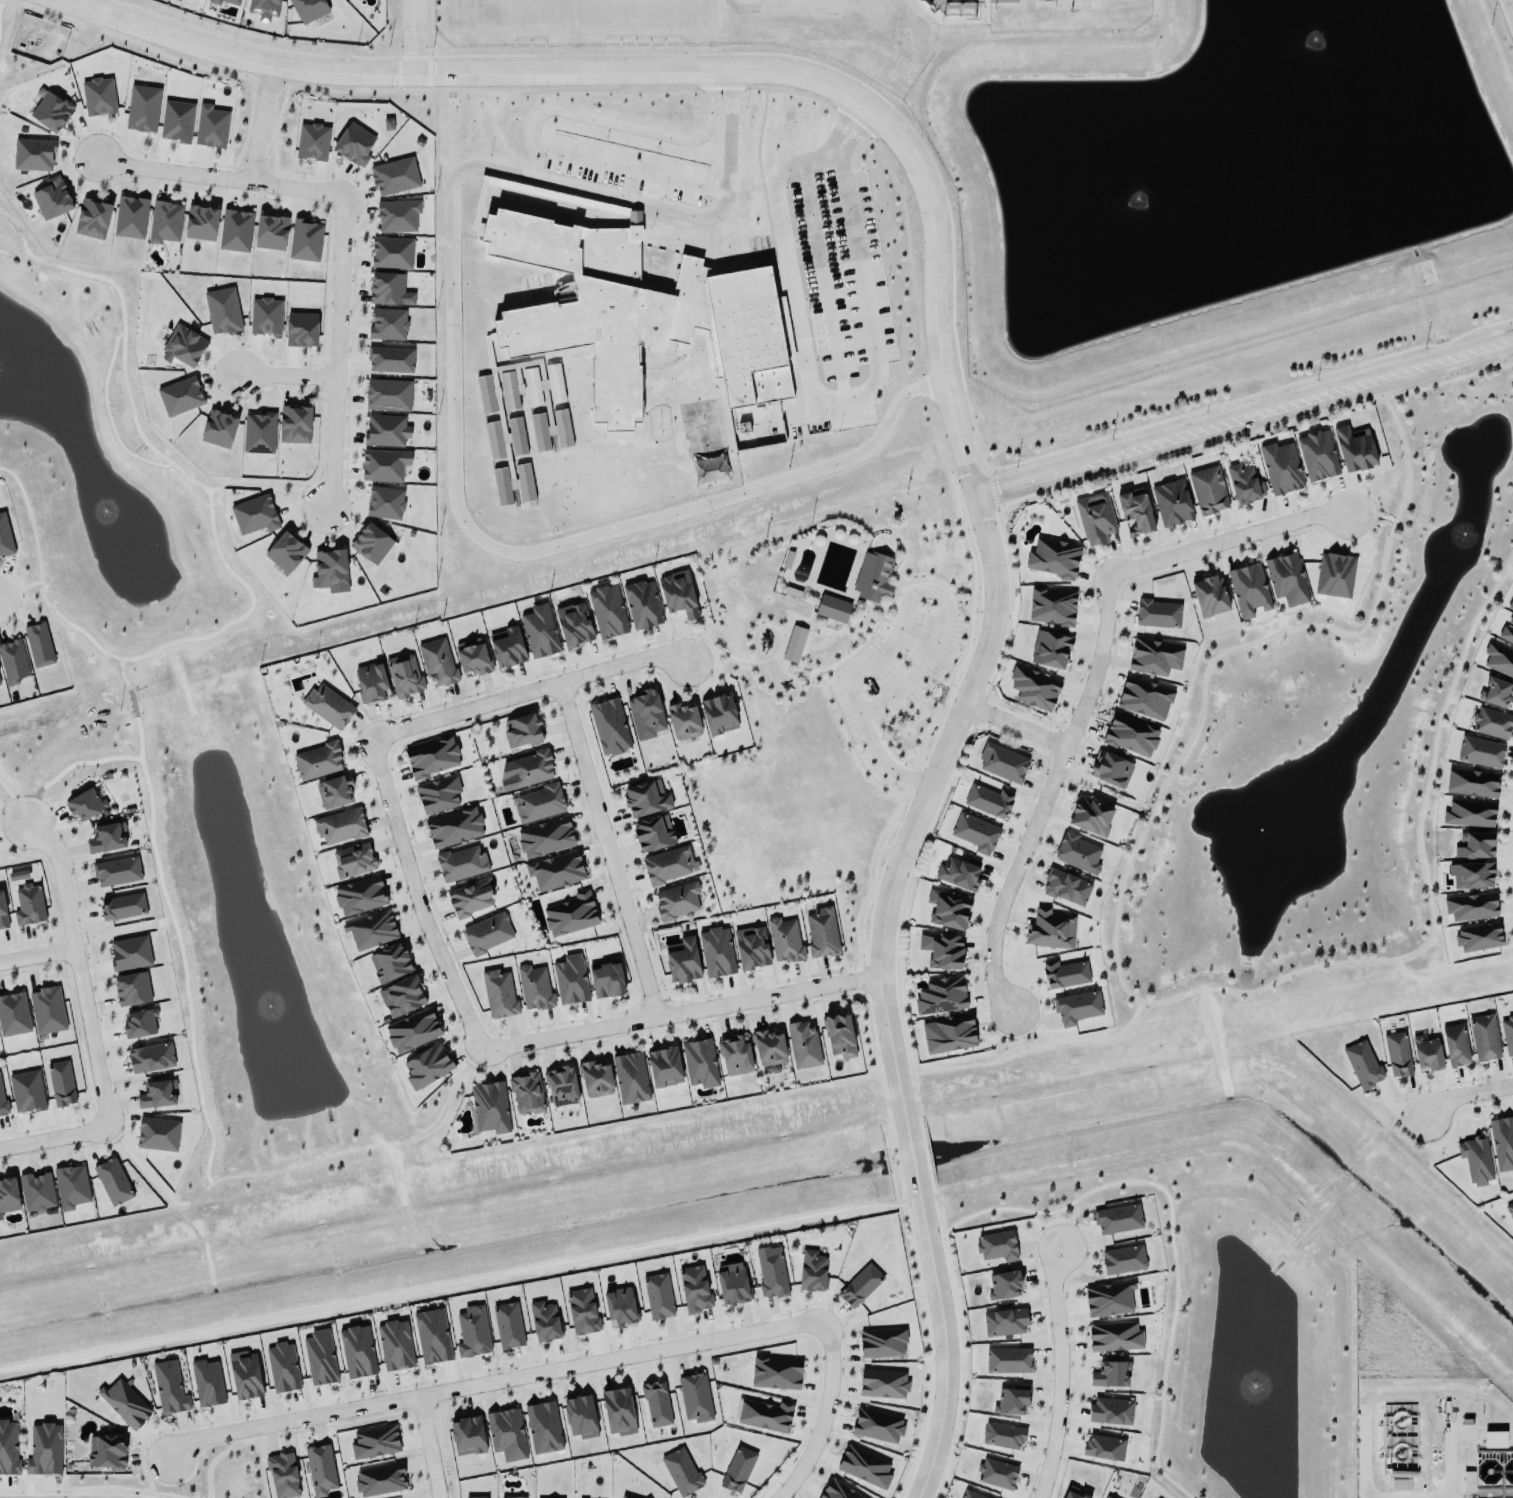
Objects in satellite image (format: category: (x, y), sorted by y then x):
building: (214, 1)
building: (233, 1)
park: (806, 6)
building: (264, 9)
building: (308, 9)
road: (1508, 12)
road: (413, 38)
fountain: (1324, 39)
road: (461, 75)
building: (98, 97)
building: (142, 108)
building: (49, 110)
road: (540, 115)
building: (176, 121)
road: (261, 123)
building: (388, 124)
building: (211, 127)
building: (312, 142)
building: (354, 145)
building: (33, 154)
building: (394, 174)
road: (217, 177)
fountain: (1139, 197)
building: (52, 198)
building: (607, 209)
building: (397, 216)
building: (130, 217)
building: (92, 219)
building: (164, 222)
building: (201, 223)
building: (236, 227)
building: (270, 230)
building: (303, 239)
building: (391, 252)
building: (389, 290)
building: (222, 311)
building: (639, 311)
building: (265, 316)
building: (388, 324)
building: (300, 327)
building: (183, 344)
road: (336, 350)
building: (390, 359)
road: (285, 374)
building: (542, 385)
building: (510, 390)
road: (846, 393)
building: (485, 394)
building: (388, 395)
building: (178, 396)
road: (444, 414)
road: (1244, 418)
building: (295, 425)
building: (218, 429)
building: (386, 430)
building: (551, 430)
building: (258, 433)
building: (494, 440)
building: (1354, 448)
road: (1190, 453)
building: (1314, 454)
building: (380, 464)
building: (1278, 467)
building: (1241, 482)
building: (513, 484)
building: (1205, 489)
building: (1169, 501)
building: (385, 503)
building: (1132, 512)
building: (254, 515)
building: (1092, 516)
road: (1386, 518)
fountain: (121, 529)
building: (5, 537)
road: (1226, 540)
building: (371, 542)
building: (285, 553)
building: (1052, 556)
building: (329, 566)
building: (1335, 575)
road: (1508, 575)
building: (873, 577)
building: (1284, 577)
building: (1246, 588)
building: (678, 594)
building: (1209, 596)
building: (1509, 602)
building: (639, 603)
building: (1049, 605)
building: (833, 609)
building: (605, 610)
road: (995, 610)
building: (1158, 614)
building: (571, 623)
building: (537, 630)
building: (1505, 630)
building: (36, 643)
building: (794, 644)
road: (927, 644)
building: (507, 645)
building: (1047, 648)
building: (1151, 656)
building: (470, 657)
building: (1499, 660)
building: (436, 661)
building: (12, 662)
building: (403, 675)
building: (372, 683)
building: (0, 684)
building: (1031, 686)
building: (1495, 689)
road: (528, 694)
building: (1142, 697)
building: (326, 705)
building: (716, 713)
building: (645, 714)
building: (680, 720)
building: (1490, 721)
building: (607, 725)
road: (1017, 725)
building: (519, 729)
building: (1130, 735)
building: (1478, 751)
building: (428, 757)
building: (317, 761)
building: (1000, 761)
building: (530, 769)
building: (1110, 770)
building: (1470, 781)
building: (332, 790)
building: (435, 793)
road: (1048, 793)
road: (1109, 794)
building: (643, 797)
building: (987, 799)
building: (537, 802)
building: (85, 804)
building: (1469, 814)
building: (1087, 815)
building: (338, 824)
building: (451, 826)
fountain: (1252, 830)
building: (973, 832)
building: (653, 833)
building: (545, 837)
building: (105, 839)
building: (1474, 846)
road: (609, 851)
building: (1078, 853)
building: (351, 859)
building: (458, 863)
building: (666, 864)
building: (553, 869)
building: (114, 870)
building: (955, 873)
building: (1468, 874)
building: (18, 875)
building: (1063, 886)
building: (357, 894)
building: (471, 898)
road: (418, 899)
building: (674, 900)
building: (27, 904)
building: (1469, 905)
building: (121, 906)
building: (945, 908)
road: (1116, 909)
building: (568, 913)
building: (3, 914)
building: (371, 930)
building: (1050, 930)
building: (819, 931)
building: (484, 932)
building: (1478, 937)
building: (785, 940)
building: (748, 946)
building: (939, 950)
building: (713, 951)
building: (128, 952)
road: (38, 957)
building: (682, 960)
building: (387, 961)
road: (79, 968)
building: (1062, 973)
road: (1450, 973)
building: (568, 979)
building: (606, 979)
building: (130, 986)
building: (532, 987)
building: (496, 993)
building: (399, 994)
building: (938, 995)
building: (1075, 1006)
fountain: (266, 1008)
building: (47, 1010)
road: (681, 1013)
building: (13, 1015)
building: (137, 1022)
building: (410, 1029)
building: (946, 1032)
building: (837, 1034)
building: (1507, 1035)
building: (1484, 1038)
building: (1453, 1043)
building: (801, 1044)
road: (1018, 1046)
building: (766, 1047)
road: (1033, 1049)
building: (1427, 1053)
building: (1397, 1054)
building: (734, 1056)
building: (151, 1058)
building: (697, 1062)
building: (424, 1064)
building: (1360, 1064)
building: (661, 1066)
building: (628, 1077)
building: (592, 1078)
building: (59, 1082)
building: (558, 1085)
building: (26, 1092)
building: (524, 1092)
building: (157, 1094)
road: (1465, 1095)
building: (2, 1103)
building: (488, 1104)
building: (157, 1134)
road: (54, 1138)
building: (1501, 1140)
road: (911, 1152)
building: (1474, 1159)
building: (112, 1182)
building: (68, 1185)
building: (35, 1188)
building: (7, 1194)
building: (1509, 1211)
building: (1118, 1219)
building: (995, 1245)
building: (1120, 1259)
building: (810, 1271)
building: (770, 1274)
building: (730, 1285)
building: (858, 1285)
building: (1004, 1285)
building: (692, 1289)
building: (658, 1296)
building: (1106, 1298)
building: (619, 1307)
building: (579, 1311)
building: (542, 1320)
building: (1002, 1321)
building: (505, 1325)
building: (470, 1331)
building: (428, 1336)
building: (1114, 1337)
building: (879, 1342)
road: (945, 1342)
building: (392, 1344)
building: (357, 1352)
building: (317, 1357)
building: (1005, 1359)
building: (280, 1366)
building: (773, 1372)
building: (1108, 1373)
building: (242, 1374)
road: (1061, 1374)
road: (495, 1380)
building: (207, 1383)
building: (881, 1383)
building: (167, 1387)
building: (693, 1397)
building: (1008, 1401)
building: (653, 1402)
building: (122, 1403)
building: (616, 1411)
building: (1111, 1411)
building: (764, 1415)
road: (825, 1415)
building: (577, 1416)
building: (875, 1424)
building: (541, 1426)
building: (504, 1433)
building: (465, 1435)
building: (1000, 1435)
building: (1494, 1439)
building: (372, 1441)
road: (428, 1446)
building: (1102, 1447)
building: (7, 1448)
building: (41, 1449)
building: (104, 1451)
road: (1363, 1465)
building: (318, 1467)
building: (862, 1467)
building: (735, 1469)
building: (679, 1471)
building: (280, 1474)
building: (997, 1474)
building: (378, 1479)
building: (1468, 1482)
building: (1400, 1485)
building: (838, 1491)
building: (969, 1494)
building: (1072, 1495)
building: (473, 1496)
building: (625, 1496)
building: (510, 1497)
building: (1107, 1497)

